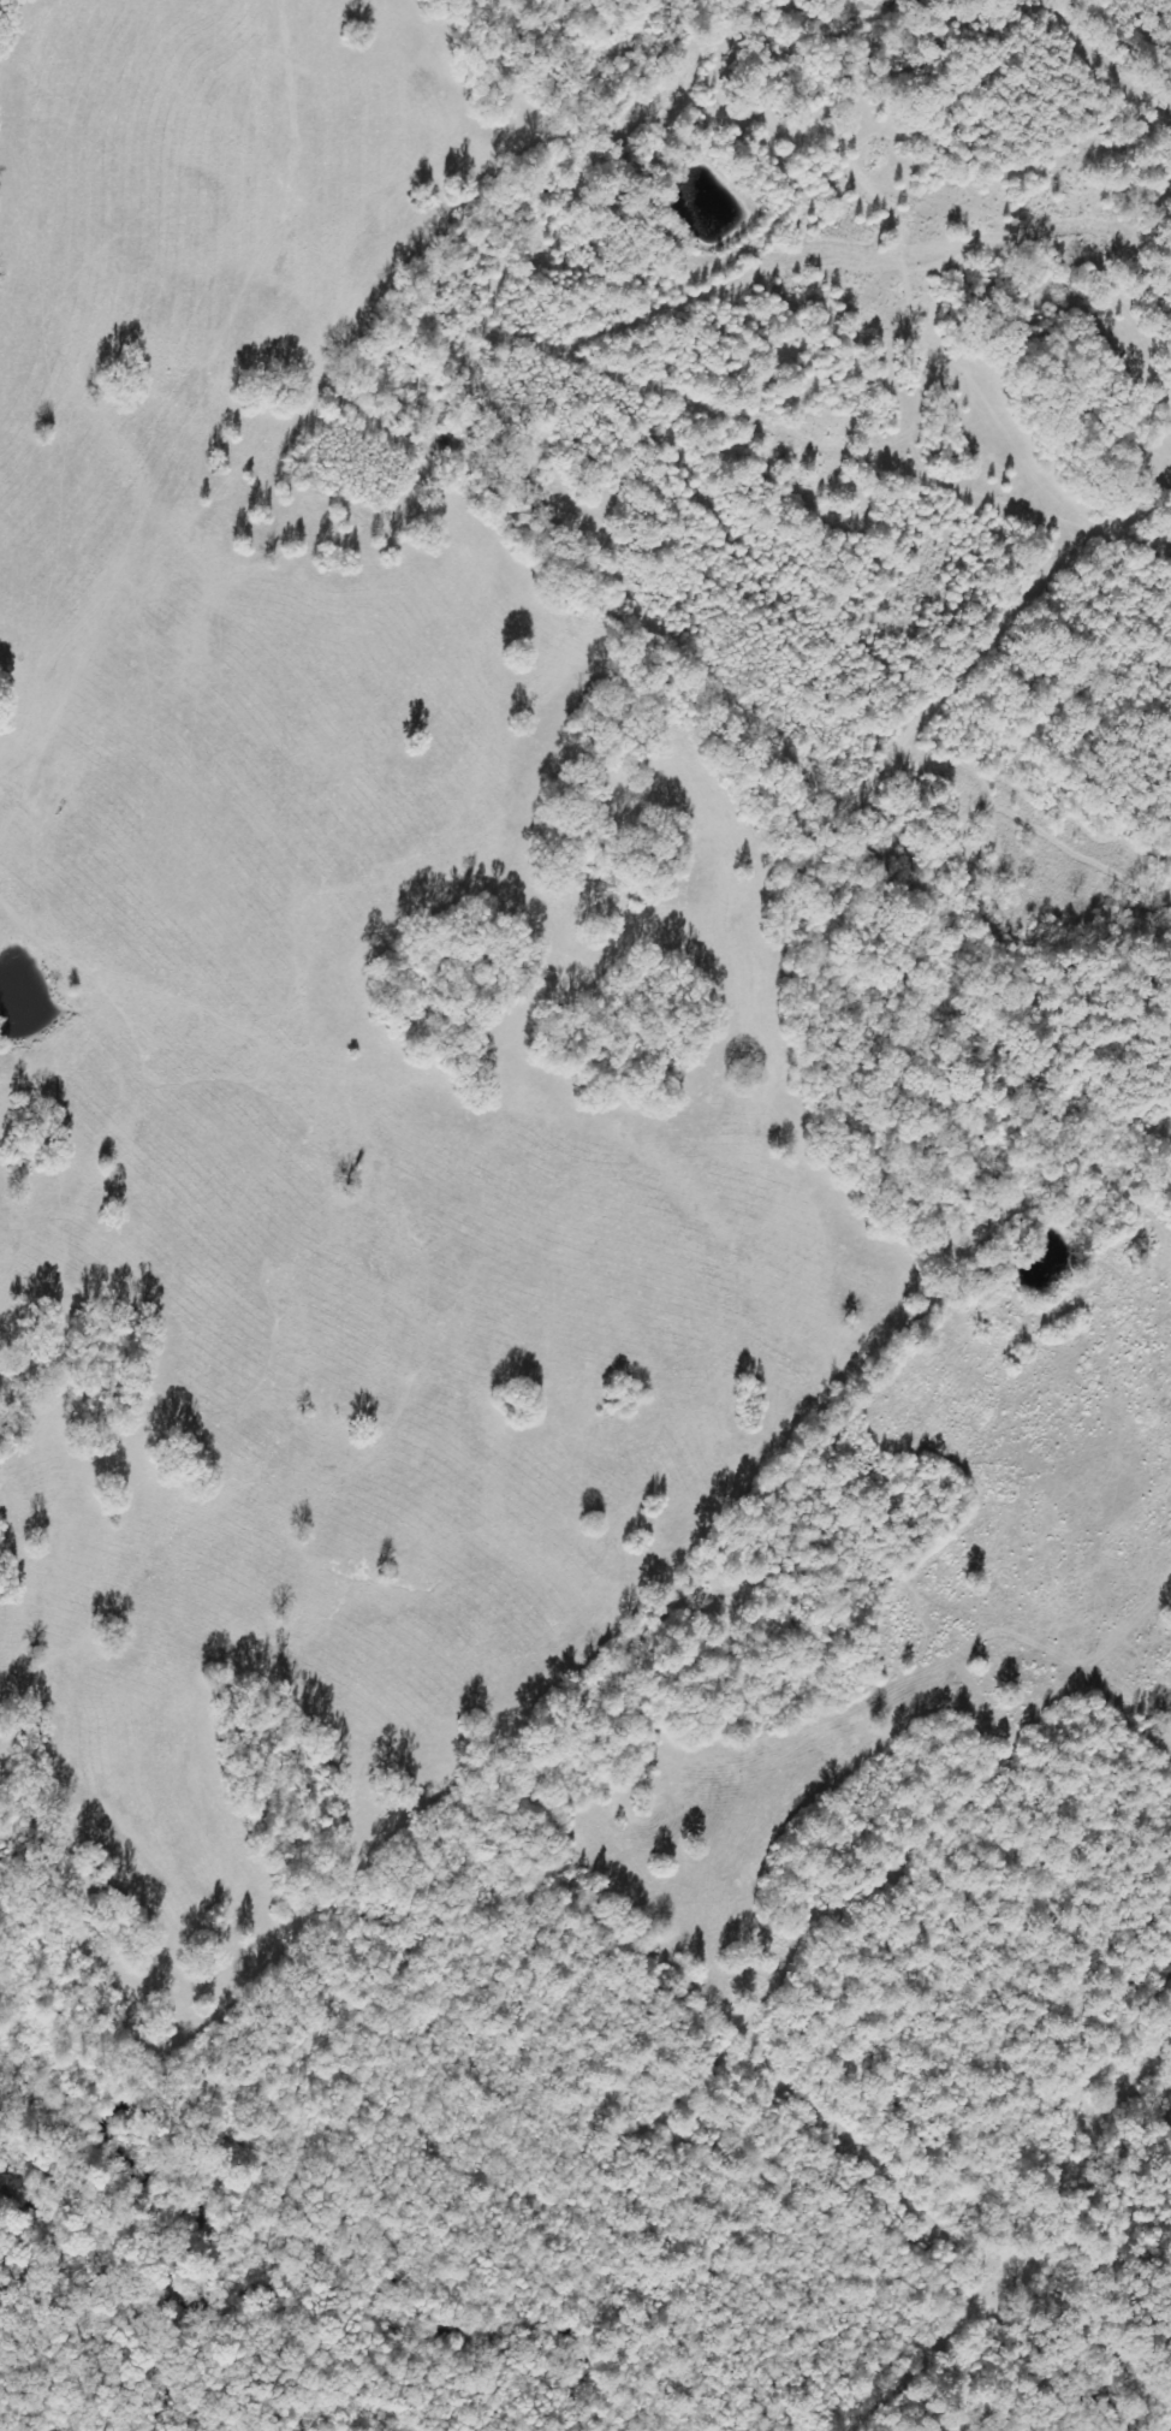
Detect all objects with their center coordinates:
road: (1108, 58)

